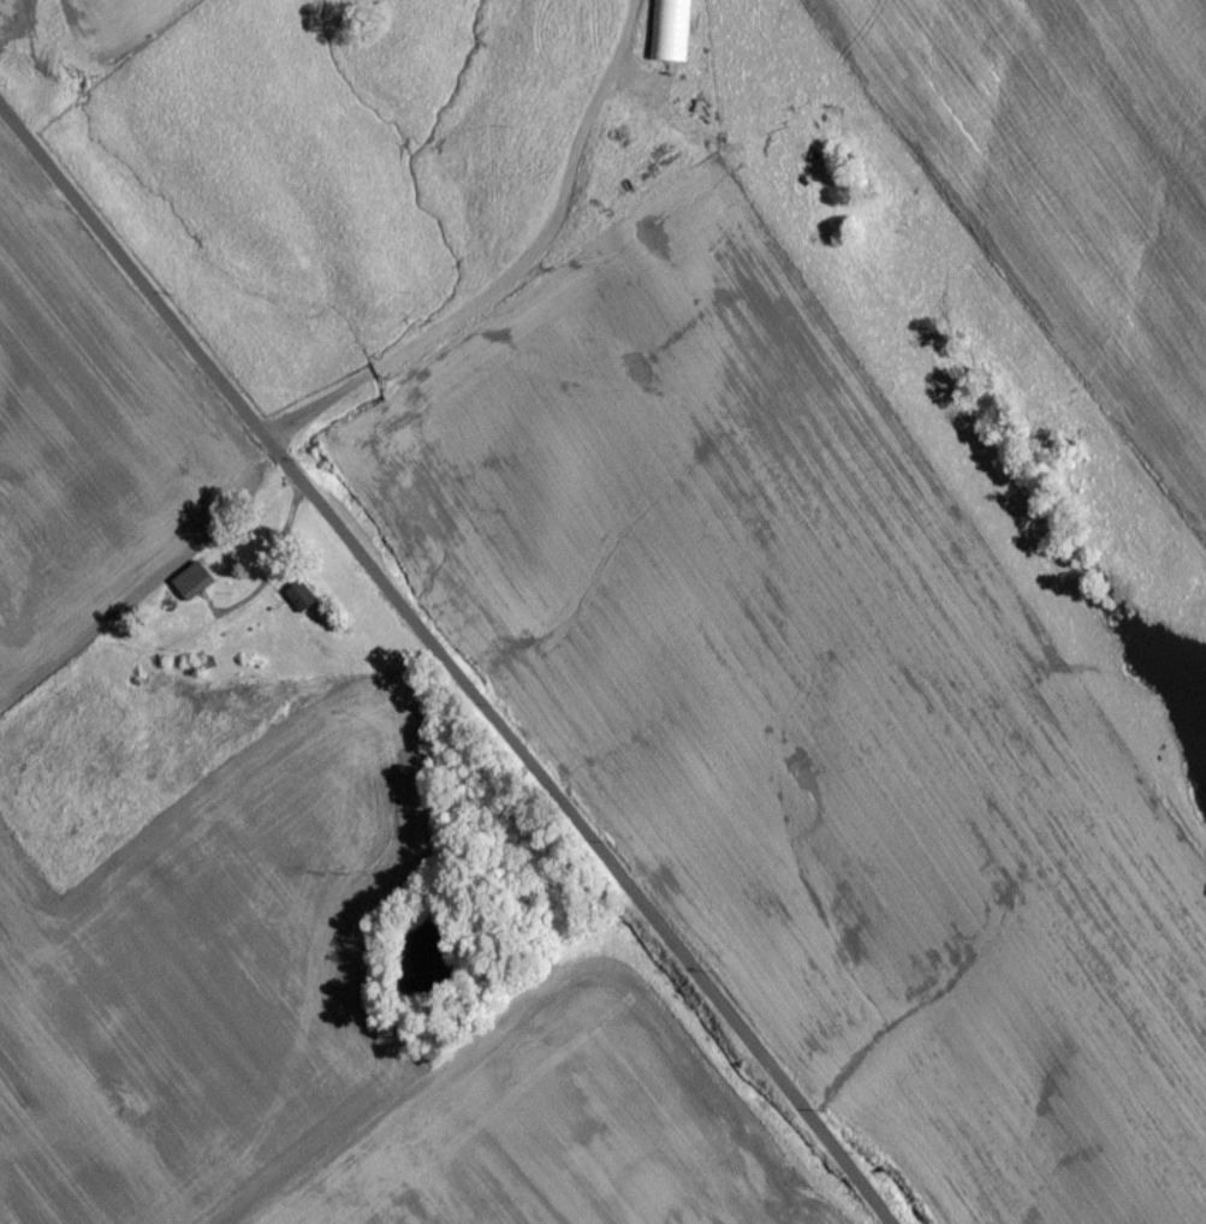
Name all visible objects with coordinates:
building: (670, 34)
road: (517, 277)
building: (197, 587)
building: (299, 602)
road: (440, 666)

